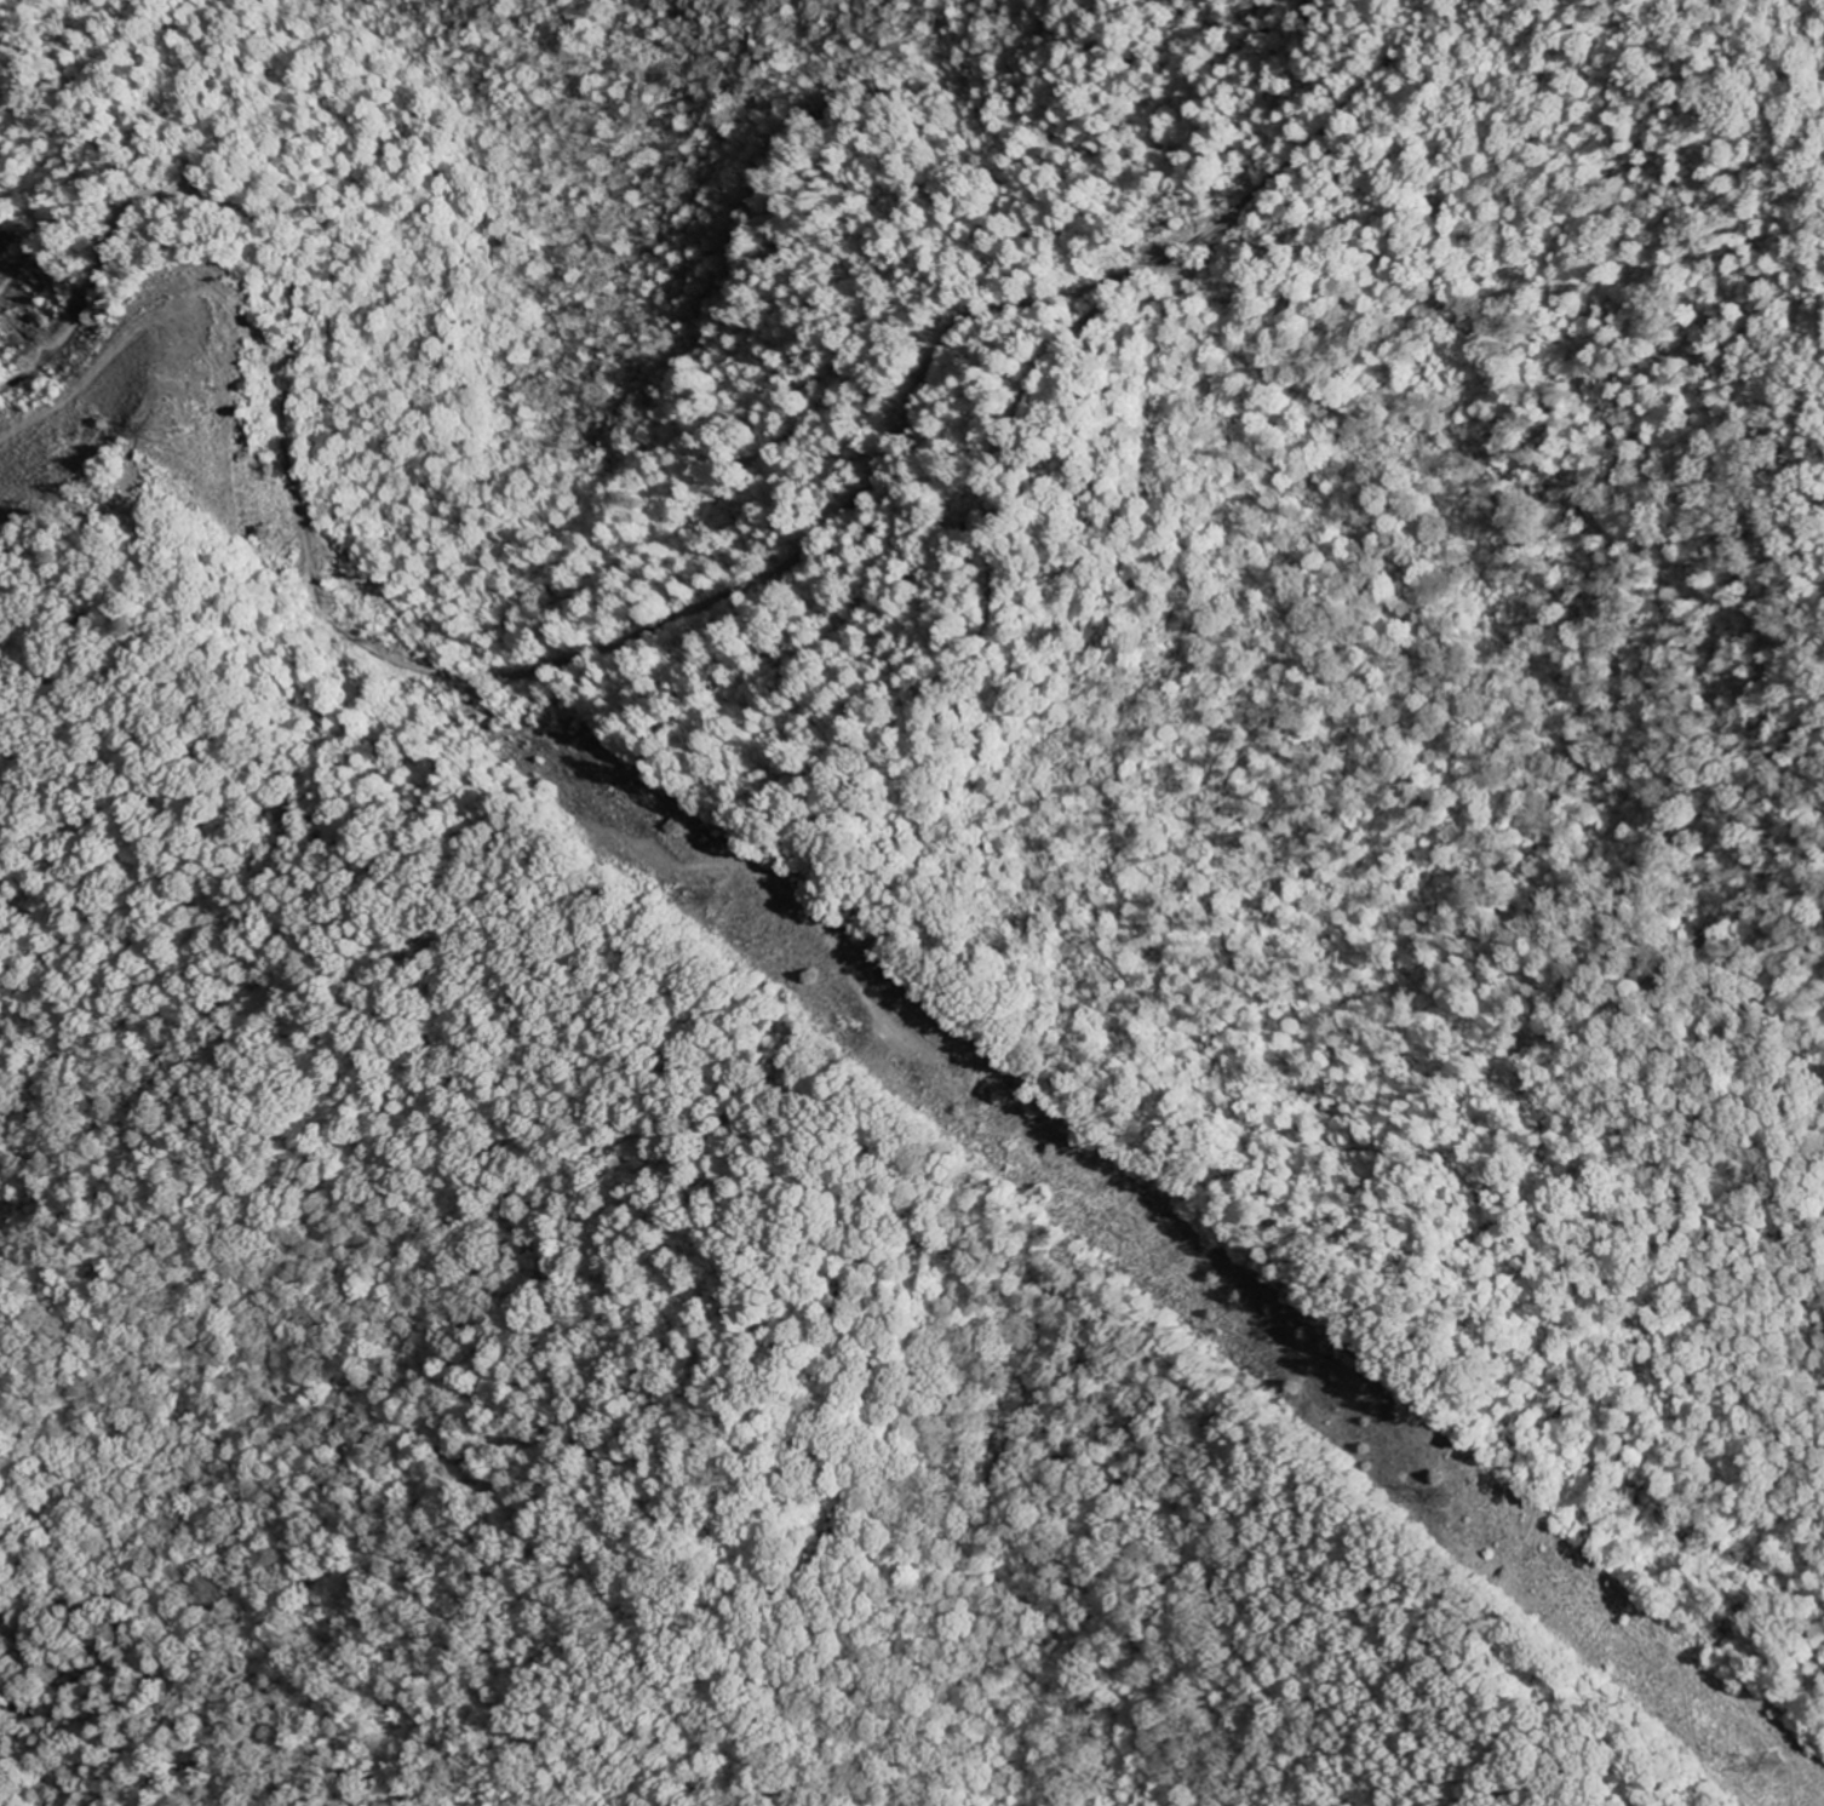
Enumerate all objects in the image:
power tower: (1442, 1497)
power tower: (1761, 1766)

